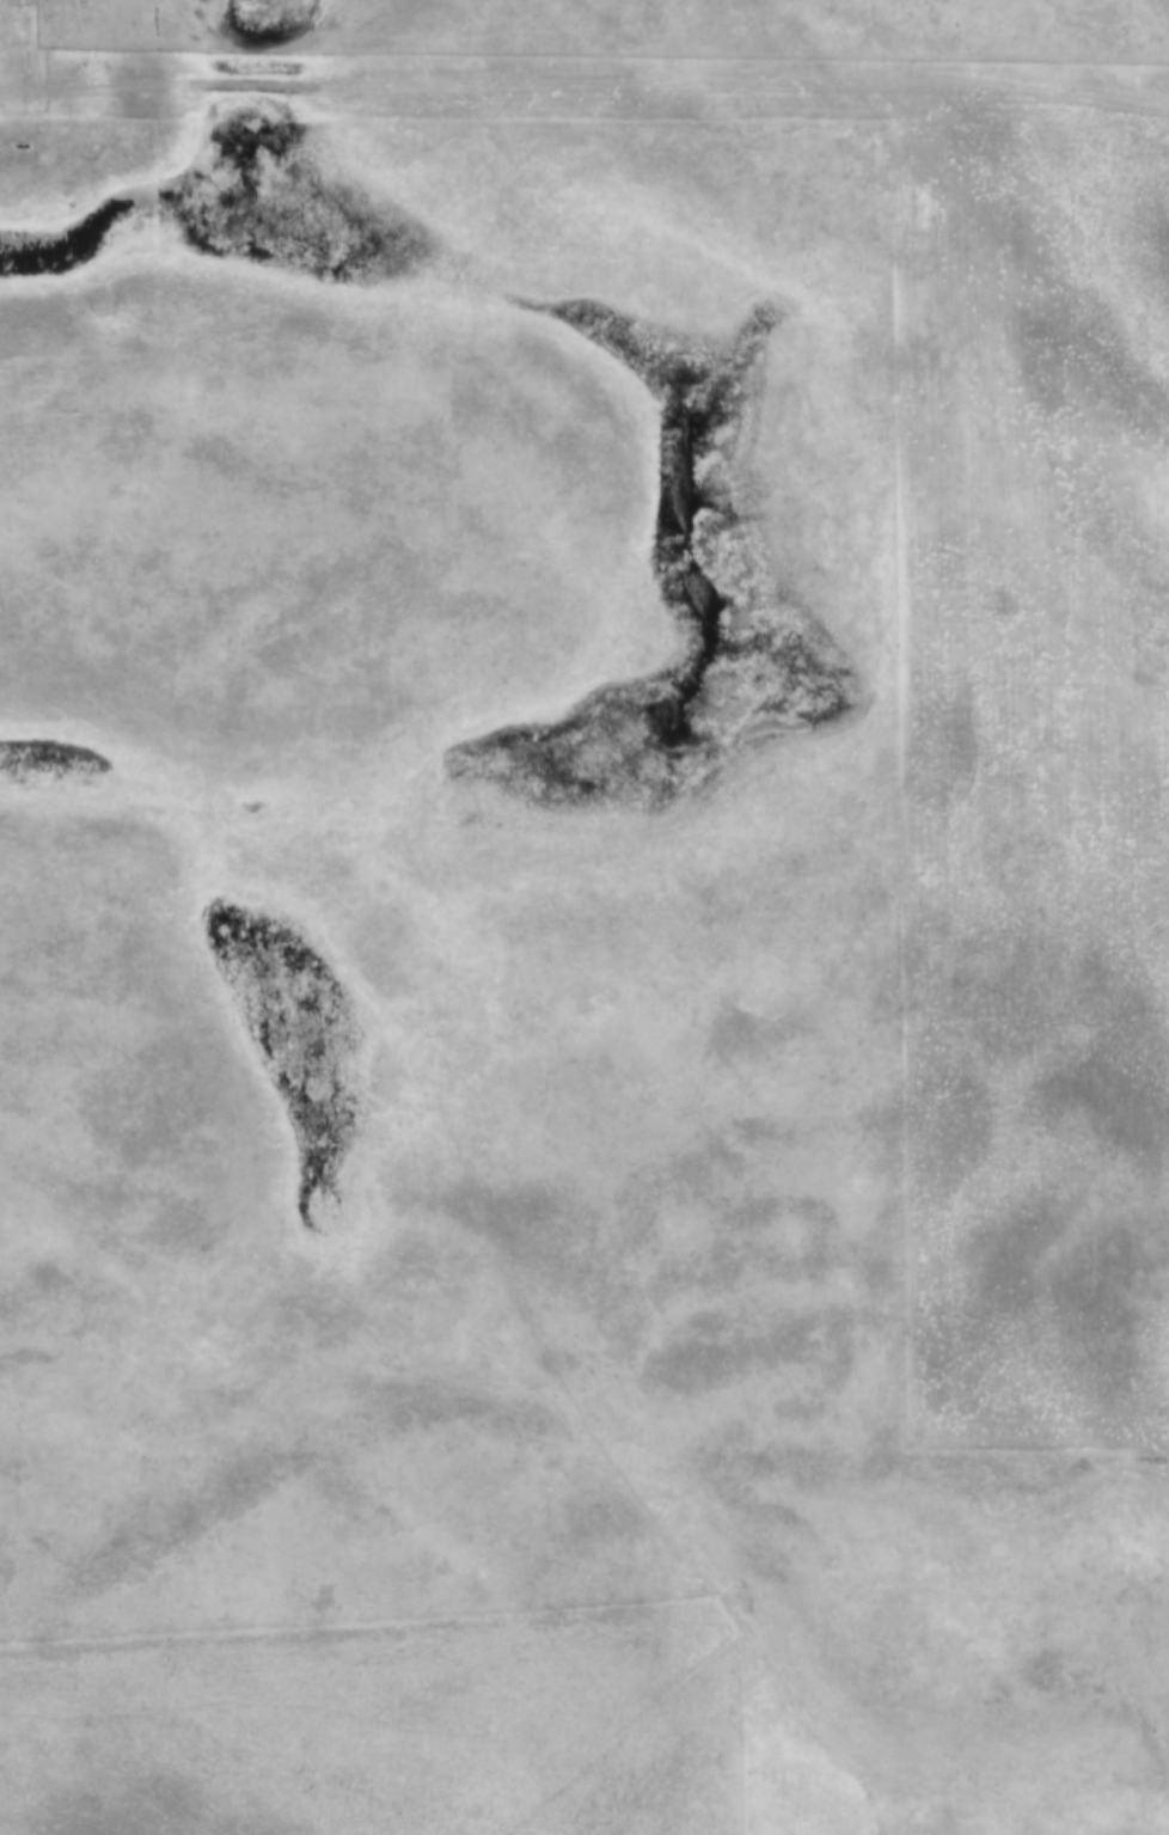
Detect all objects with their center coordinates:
road: (586, 81)

